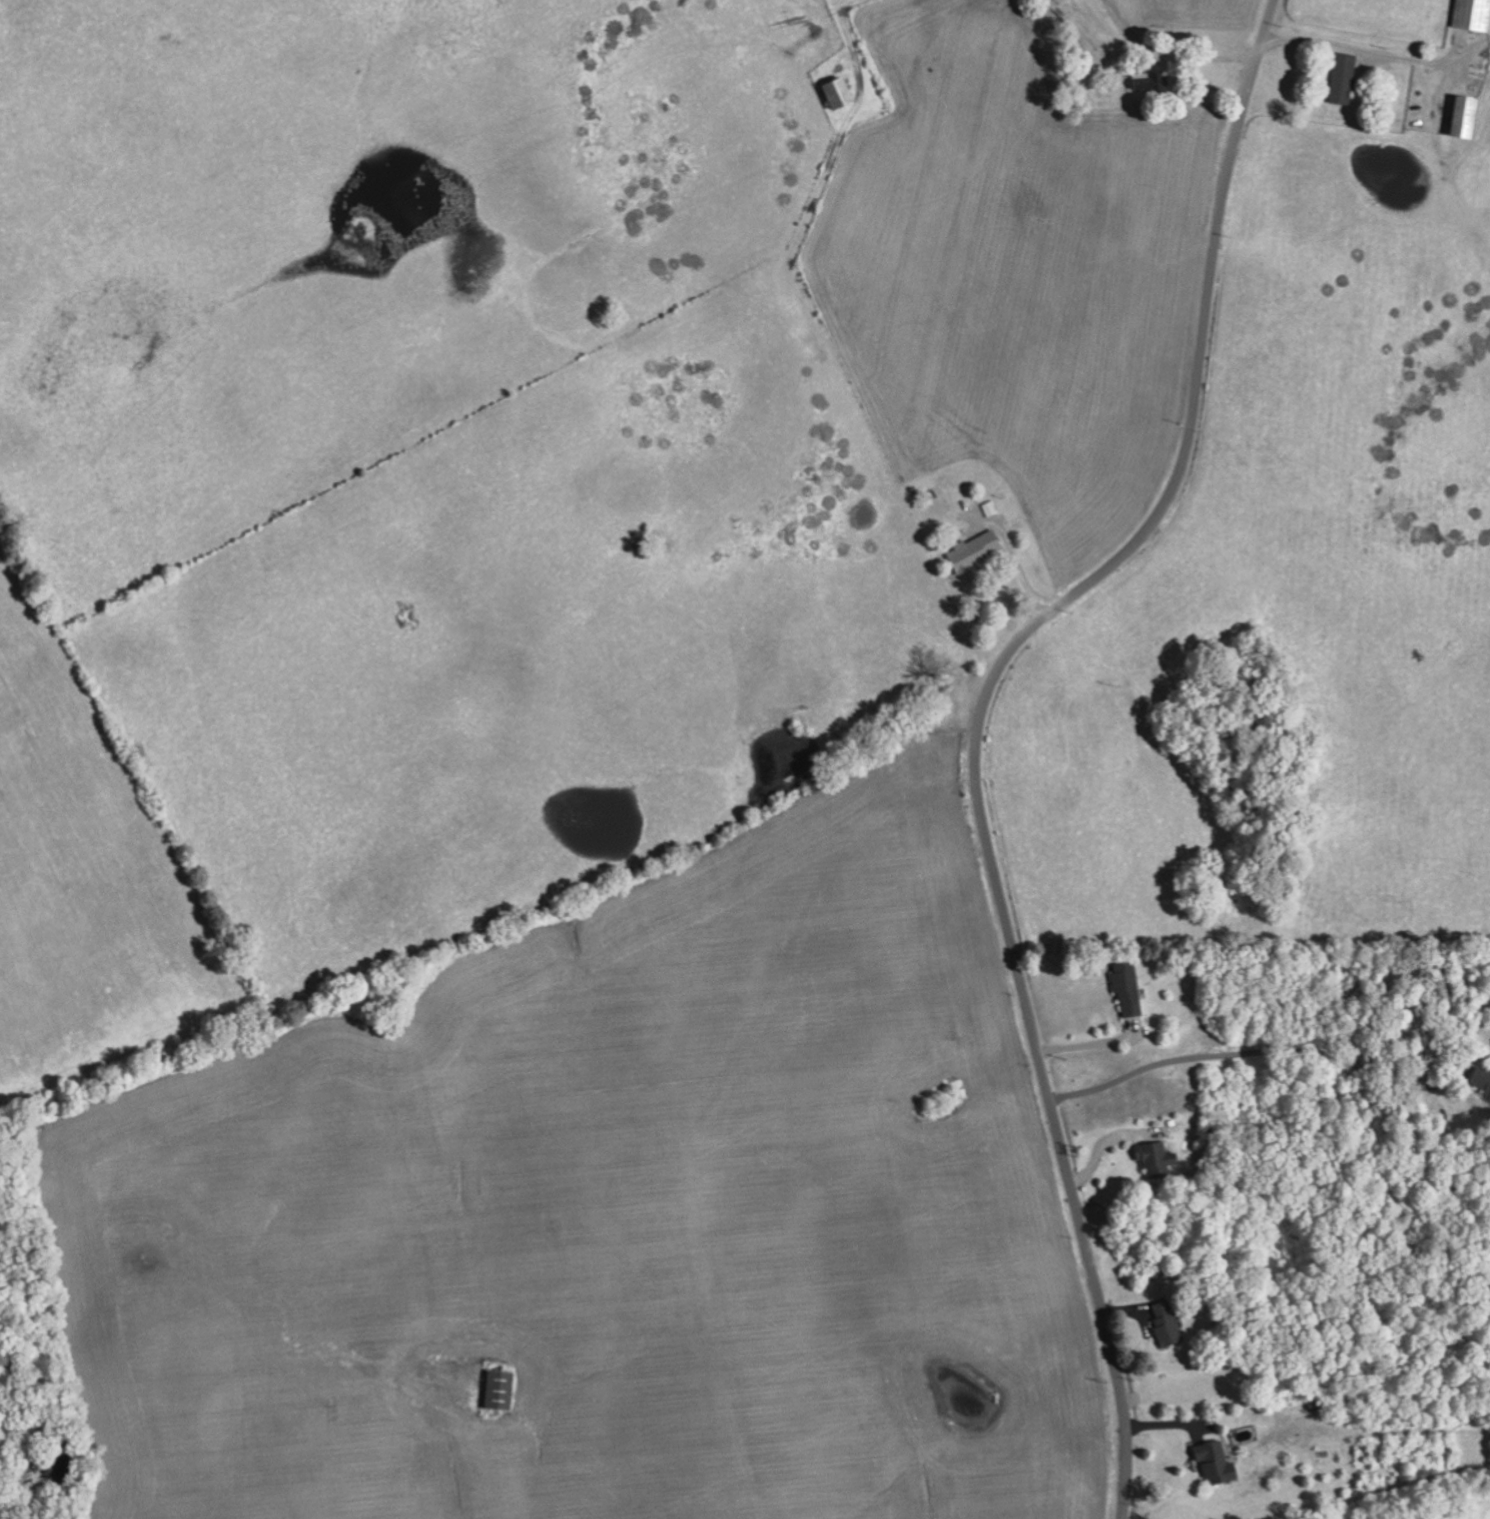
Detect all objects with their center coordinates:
road: (1334, 48)
building: (1345, 78)
building: (841, 92)
building: (976, 550)
road: (981, 726)
building: (1129, 990)
road: (1088, 1049)
road: (1250, 1052)
building: (1481, 1081)
building: (1158, 1160)
building: (1167, 1324)
building: (1217, 1464)

